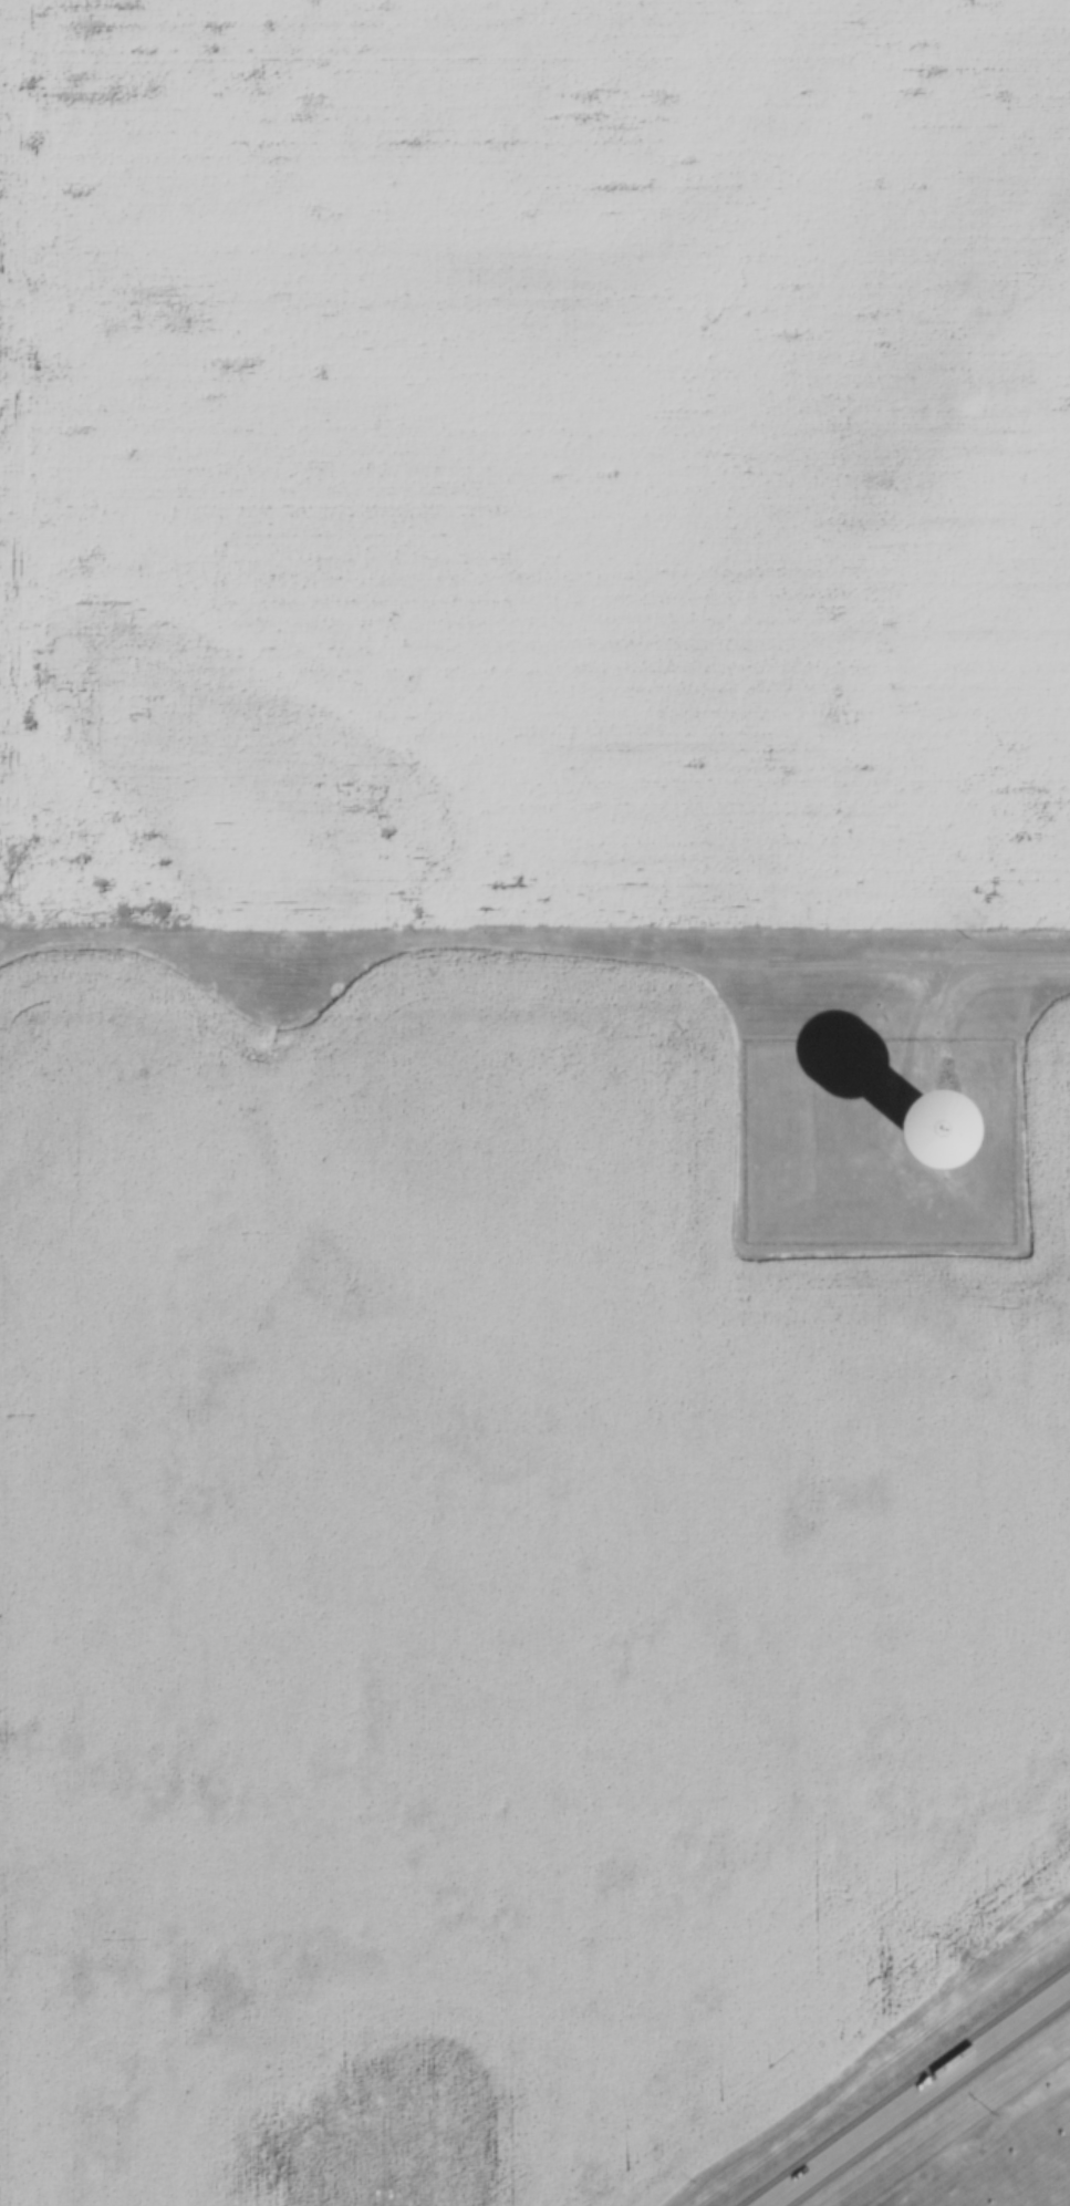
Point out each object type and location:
road: (920, 2096)

